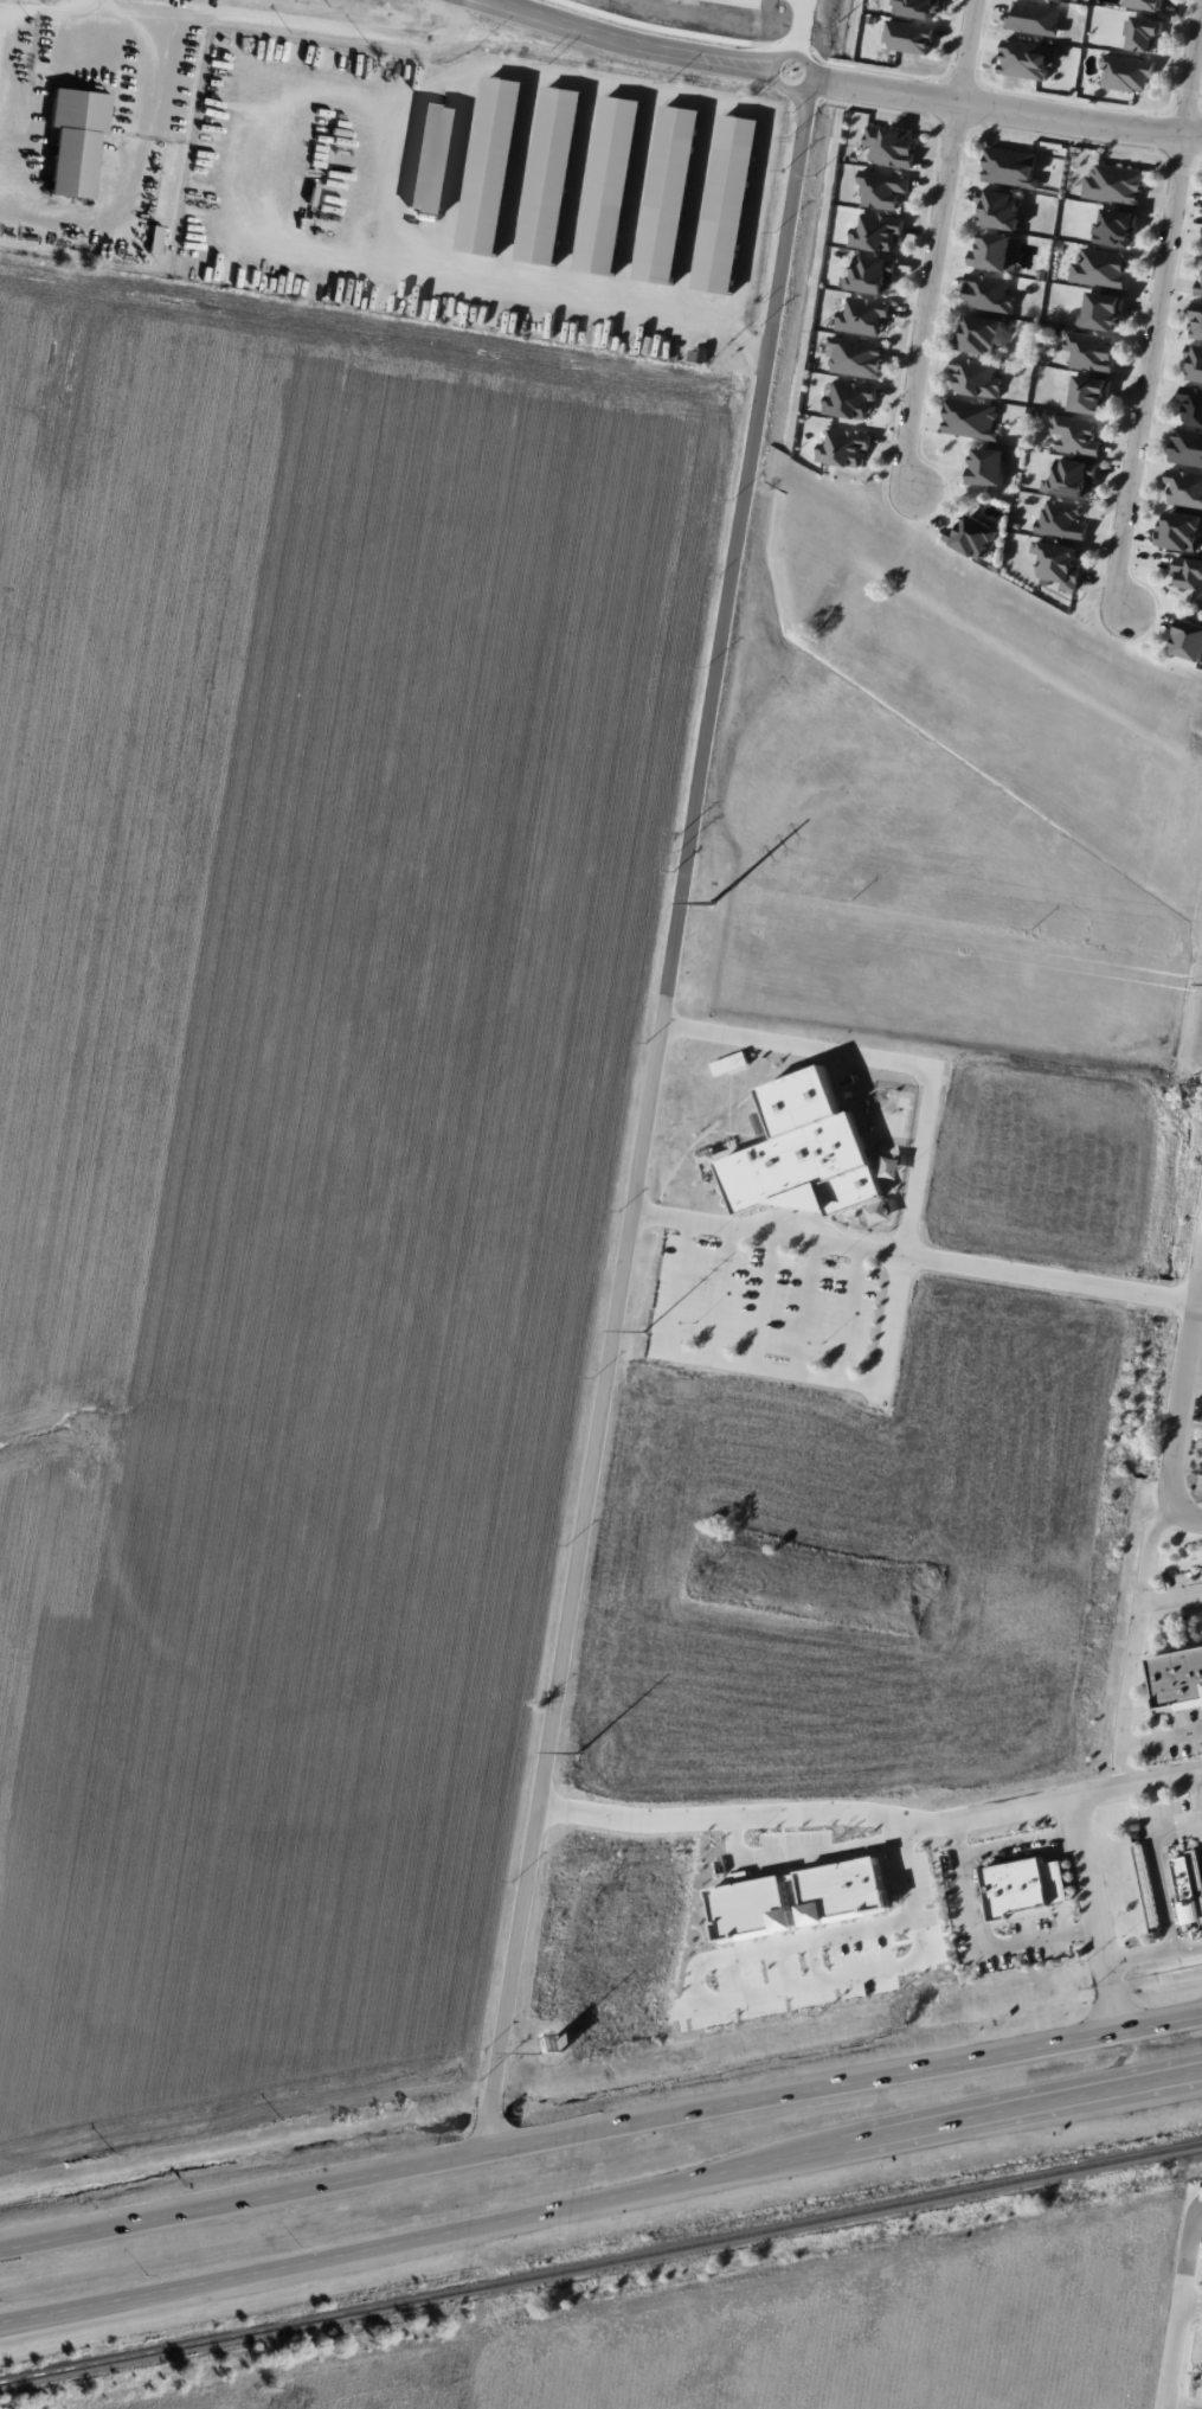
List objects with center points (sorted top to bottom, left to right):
building: (1146, 4)
road: (94, 6)
building: (919, 7)
road: (75, 12)
building: (1034, 18)
road: (306, 23)
building: (1144, 33)
building: (909, 36)
road: (970, 51)
building: (1027, 58)
road: (1190, 66)
building: (1126, 72)
road: (281, 85)
road: (995, 107)
building: (73, 139)
building: (891, 145)
building: (431, 158)
building: (491, 165)
building: (1010, 167)
road: (458, 168)
building: (551, 175)
road: (124, 177)
road: (519, 178)
road: (384, 182)
building: (1113, 184)
building: (609, 185)
road: (577, 187)
building: (882, 188)
building: (667, 194)
road: (636, 197)
building: (727, 203)
road: (694, 205)
building: (999, 209)
building: (1116, 226)
building: (876, 231)
building: (155, 239)
building: (996, 251)
building: (1099, 268)
building: (874, 274)
building: (1198, 287)
building: (989, 293)
road: (931, 296)
building: (1101, 310)
building: (863, 315)
building: (1197, 321)
building: (981, 334)
building: (1089, 351)
building: (698, 354)
building: (855, 357)
building: (1194, 360)
road: (1146, 370)
building: (976, 376)
building: (1088, 393)
building: (849, 398)
building: (1191, 404)
building: (970, 418)
building: (1076, 434)
building: (843, 447)
building: (1185, 447)
building: (988, 466)
building: (1073, 478)
building: (1184, 487)
building: (1061, 519)
building: (1178, 530)
building: (973, 537)
building: (1058, 563)
building: (1188, 572)
building: (1188, 640)
power tower: (709, 905)
road: (670, 963)
road: (881, 1058)
building: (729, 1063)
building: (804, 1152)
road: (914, 1255)
road: (726, 1293)
road: (766, 1300)
road: (810, 1307)
road: (851, 1313)
power tower: (643, 1331)
road: (771, 1369)
road: (1184, 1422)
parking lot: (1195, 1461)
road: (1172, 1597)
road: (1137, 1645)
building: (1177, 1679)
road: (1162, 1735)
power tower: (576, 1761)
road: (1196, 1800)
road: (727, 1818)
road: (946, 1825)
road: (1021, 1843)
road: (1156, 1863)
building: (1189, 1883)
building: (1017, 1886)
building: (1146, 1888)
building: (849, 1898)
road: (804, 1903)
road: (1093, 1915)
building: (759, 1916)
road: (982, 1939)
road: (790, 1947)
road: (1152, 1955)
road: (818, 1962)
road: (767, 1992)
power tower: (539, 2054)
road: (841, 2078)
road: (842, 2149)
road: (239, 2197)
railway: (600, 2263)
road: (242, 2273)
road: (1190, 2302)
road: (1178, 2305)
road: (4, 2320)
road: (1181, 2405)
road: (1189, 2408)

